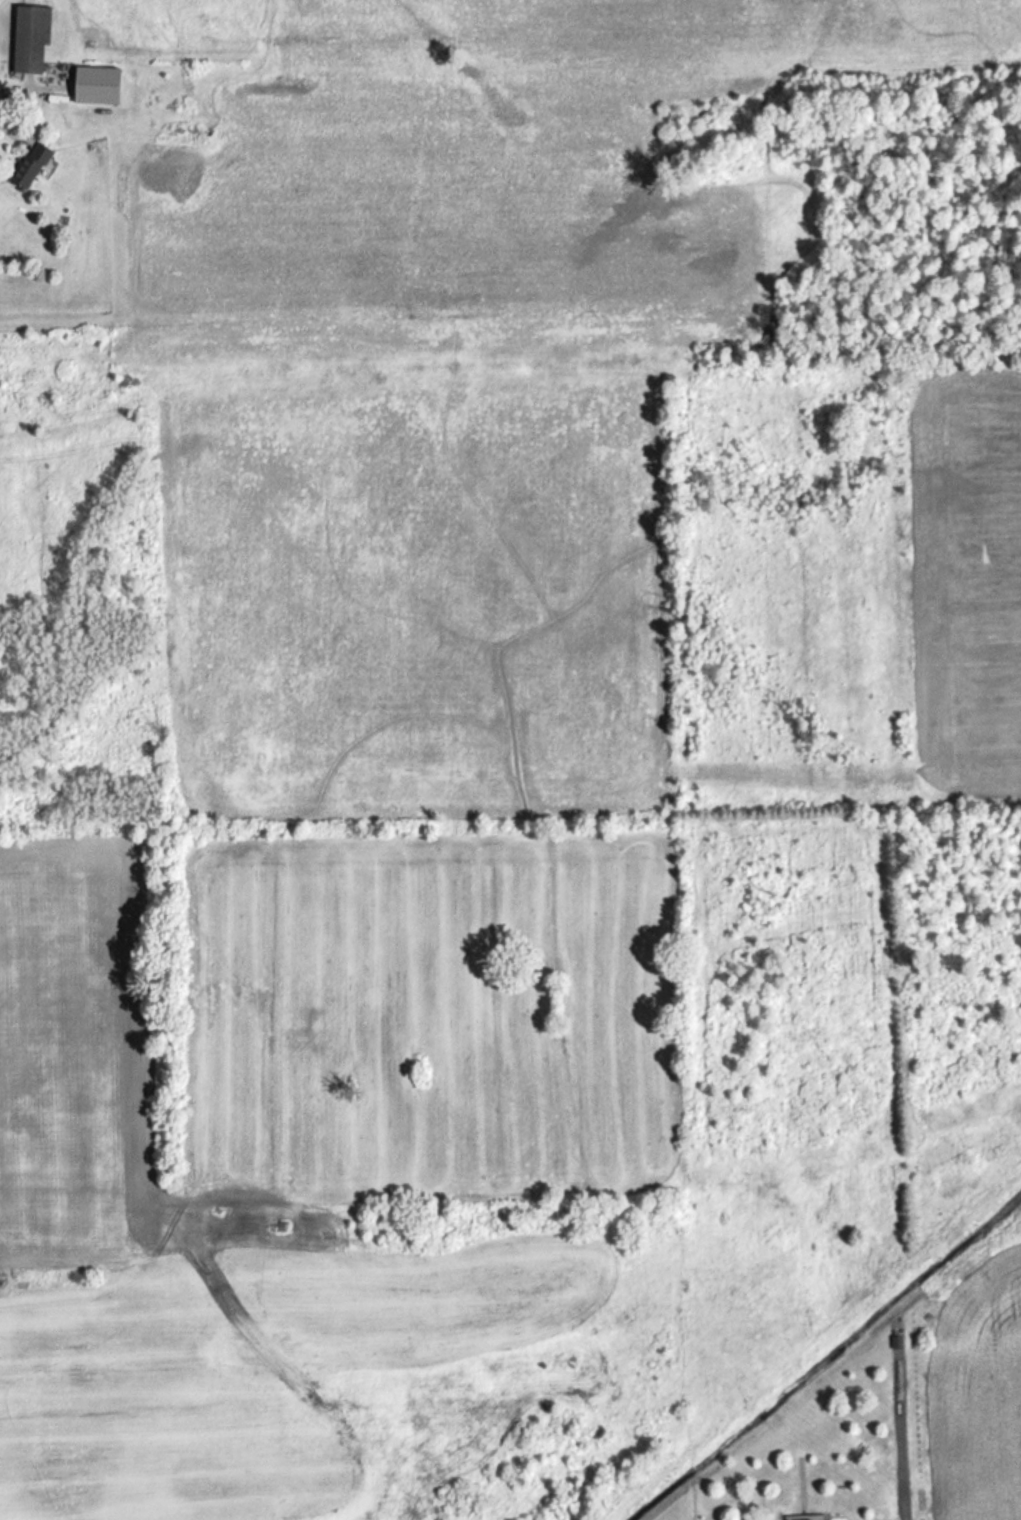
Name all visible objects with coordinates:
building: (33, 40)
building: (101, 87)
road: (16, 109)
building: (33, 168)

